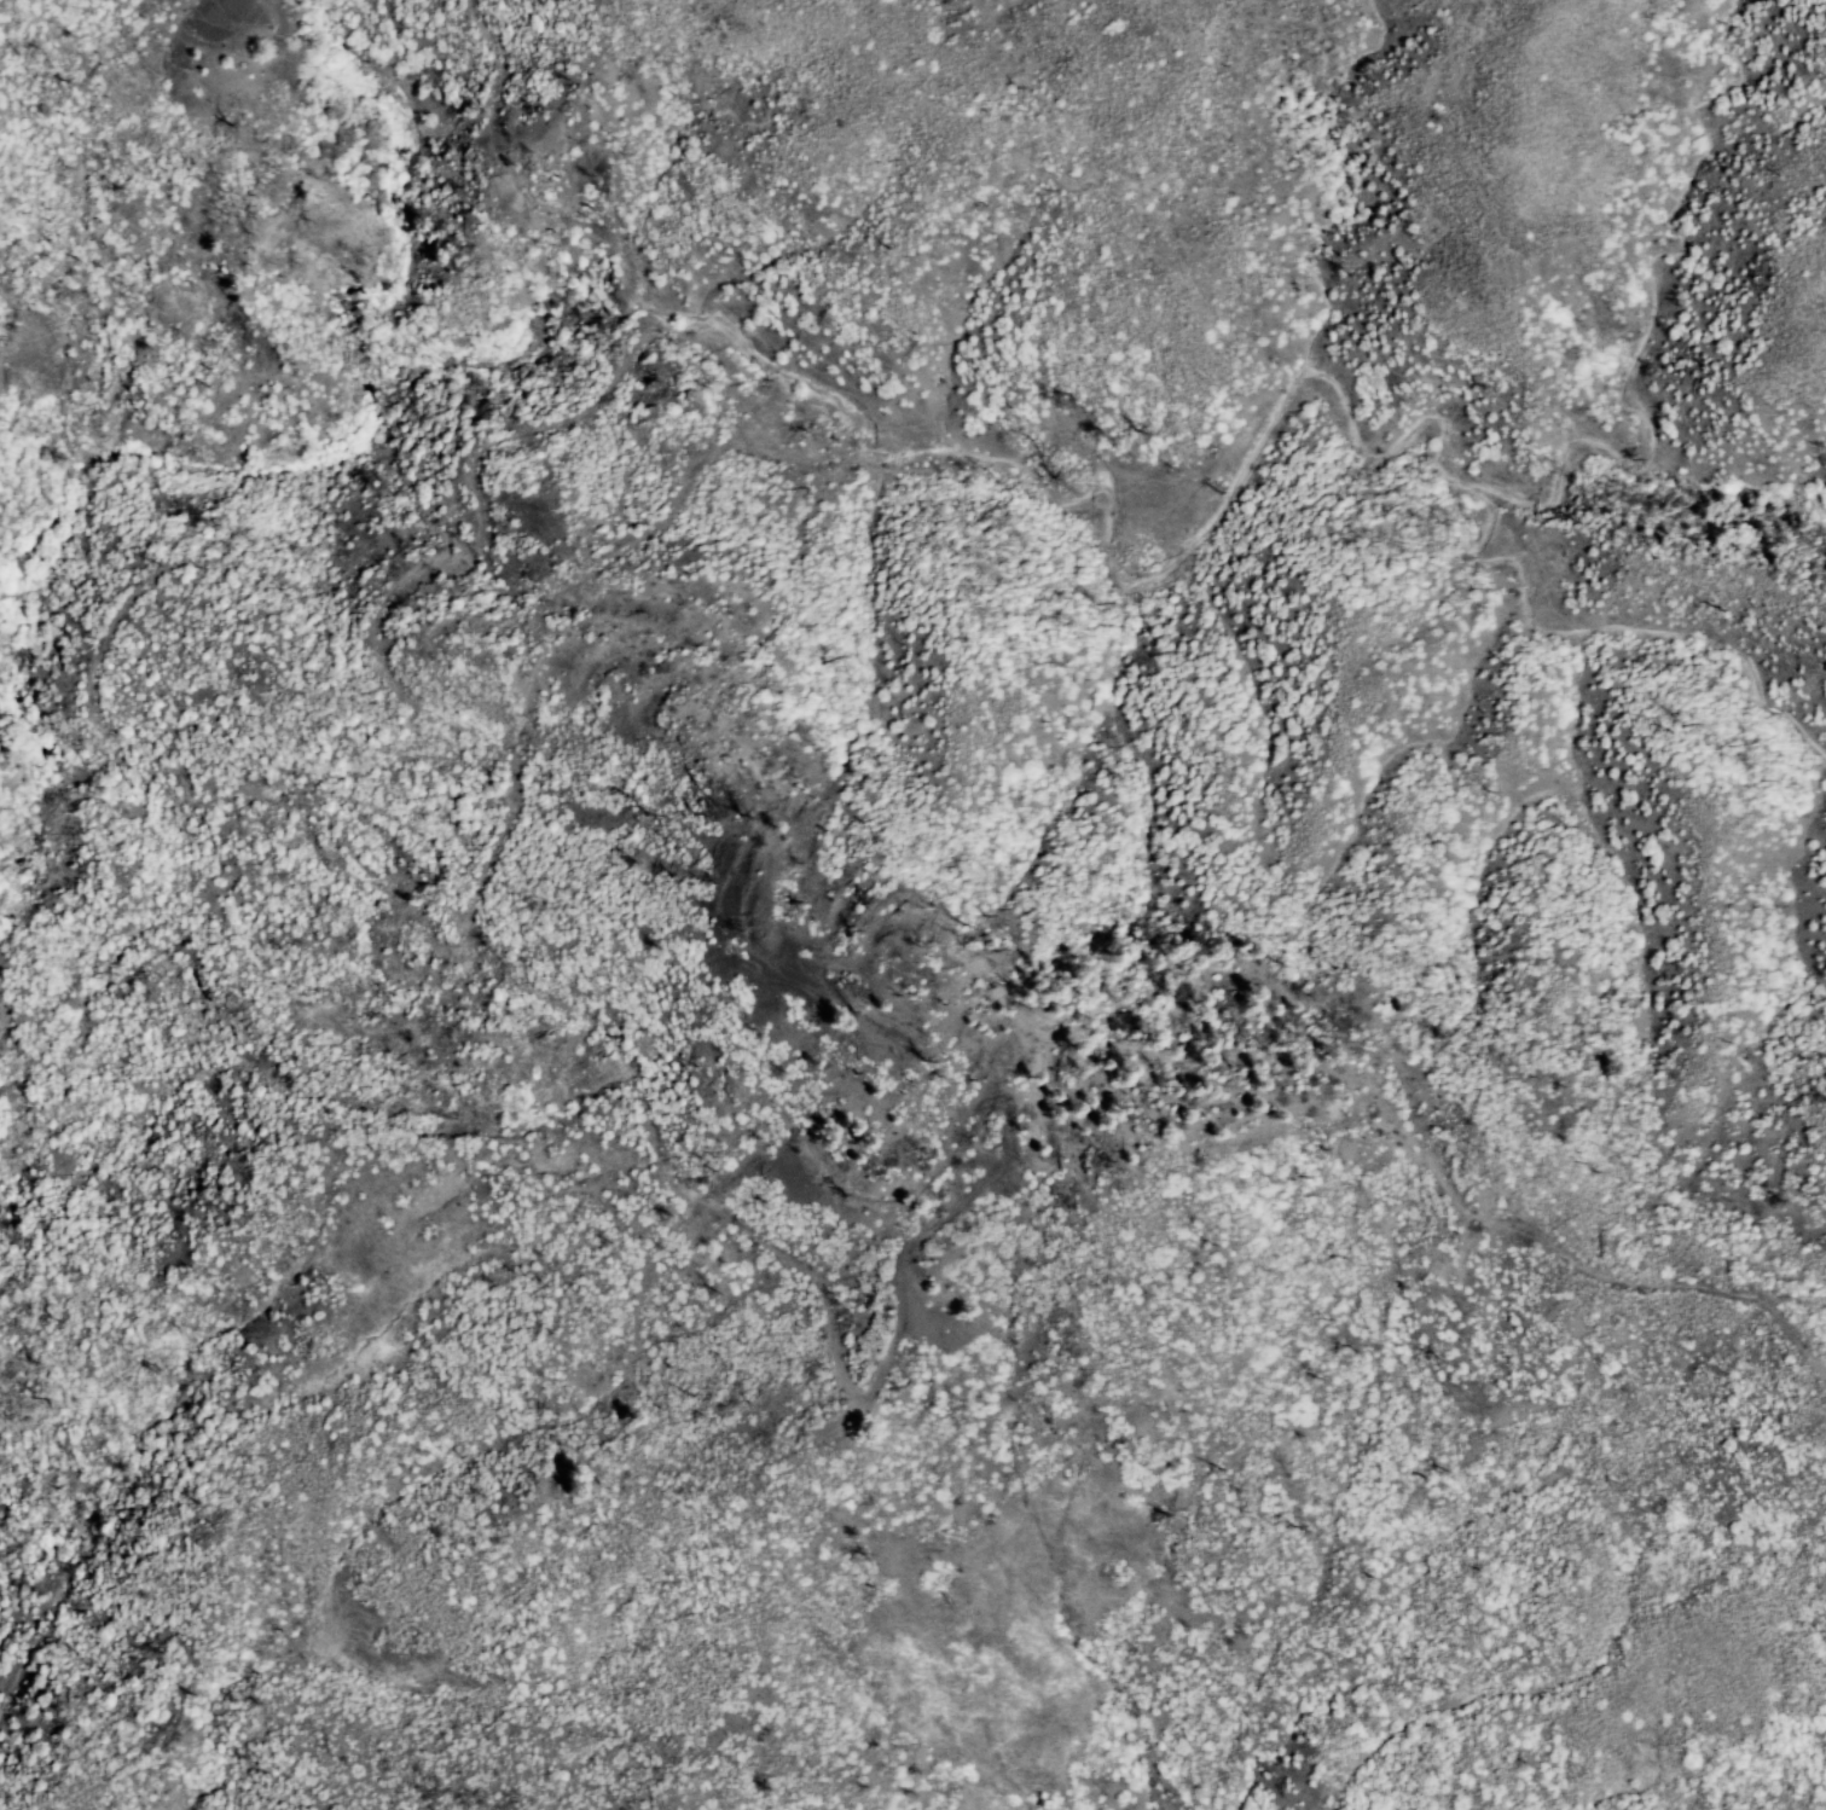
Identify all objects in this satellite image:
road: (692, 1199)

